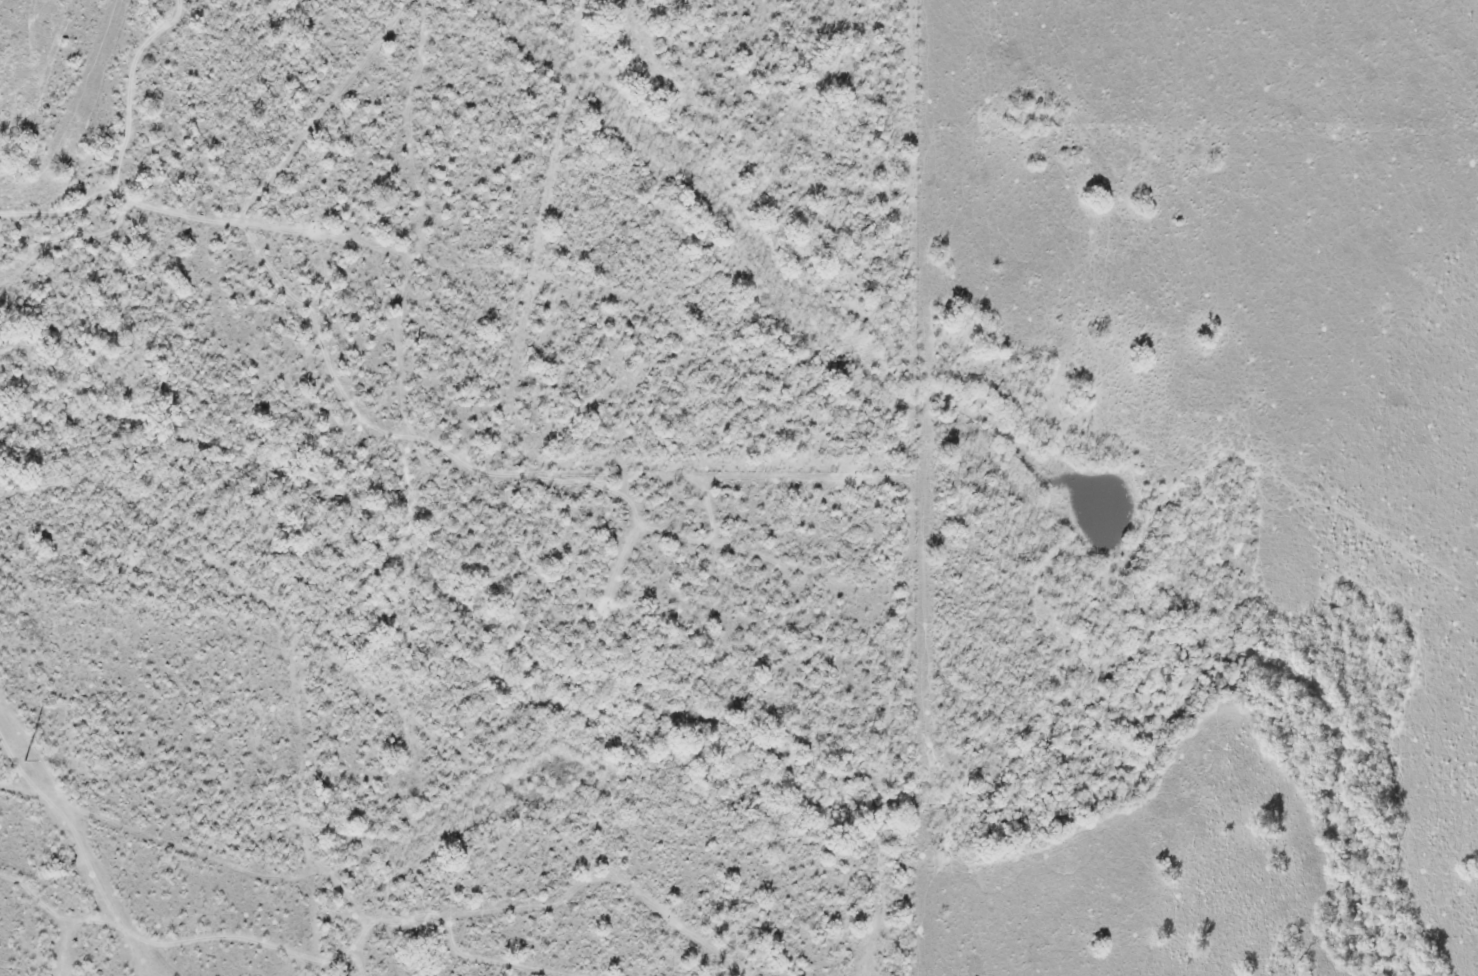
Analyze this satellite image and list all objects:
power tower: (25, 762)

